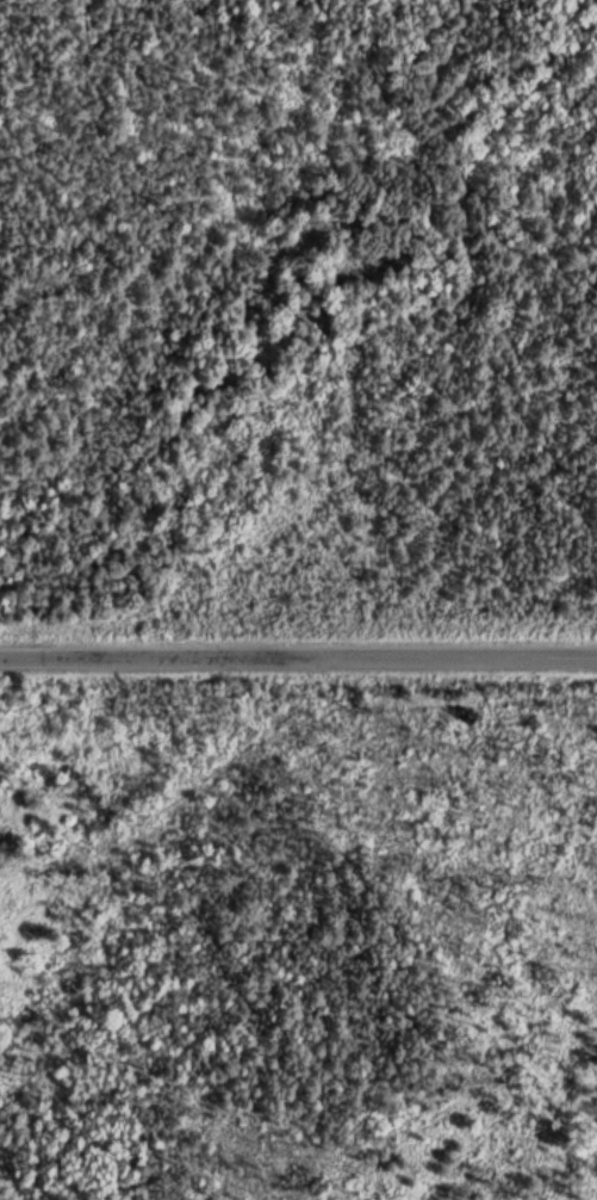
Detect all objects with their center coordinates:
road: (298, 662)

